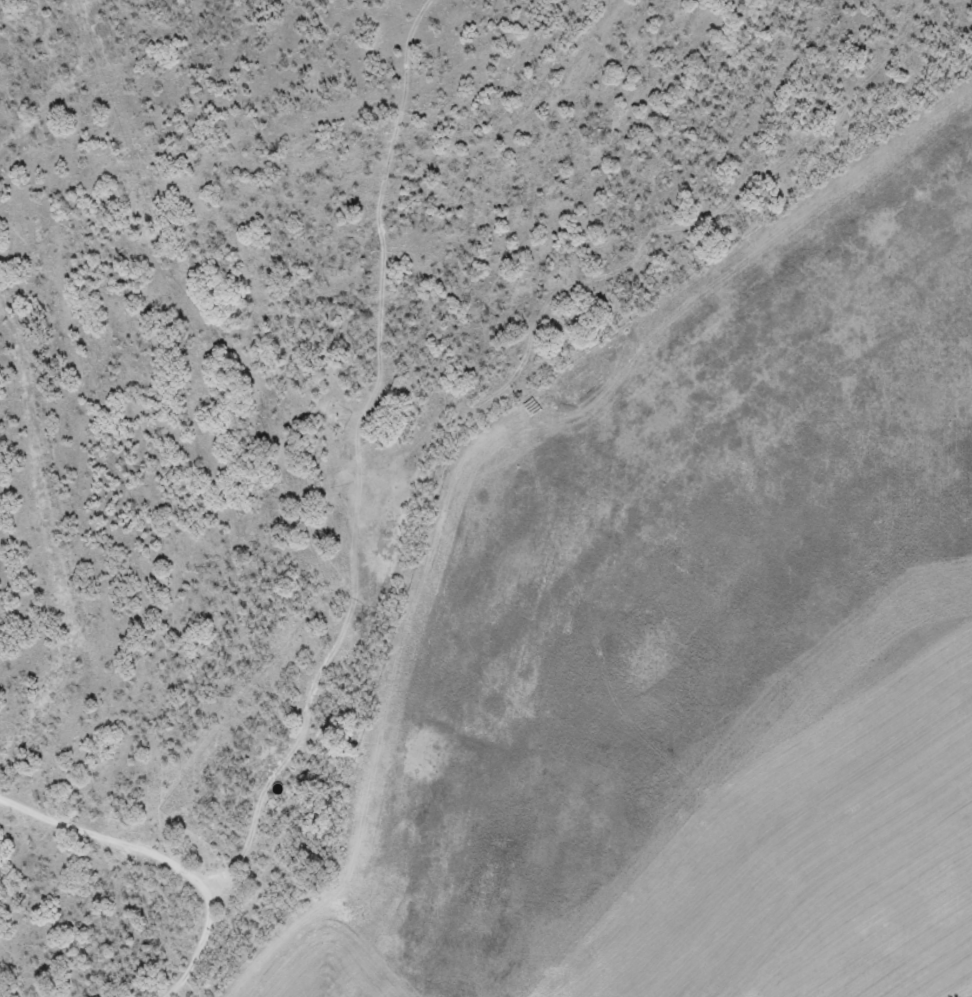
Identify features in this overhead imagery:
road: (141, 869)

